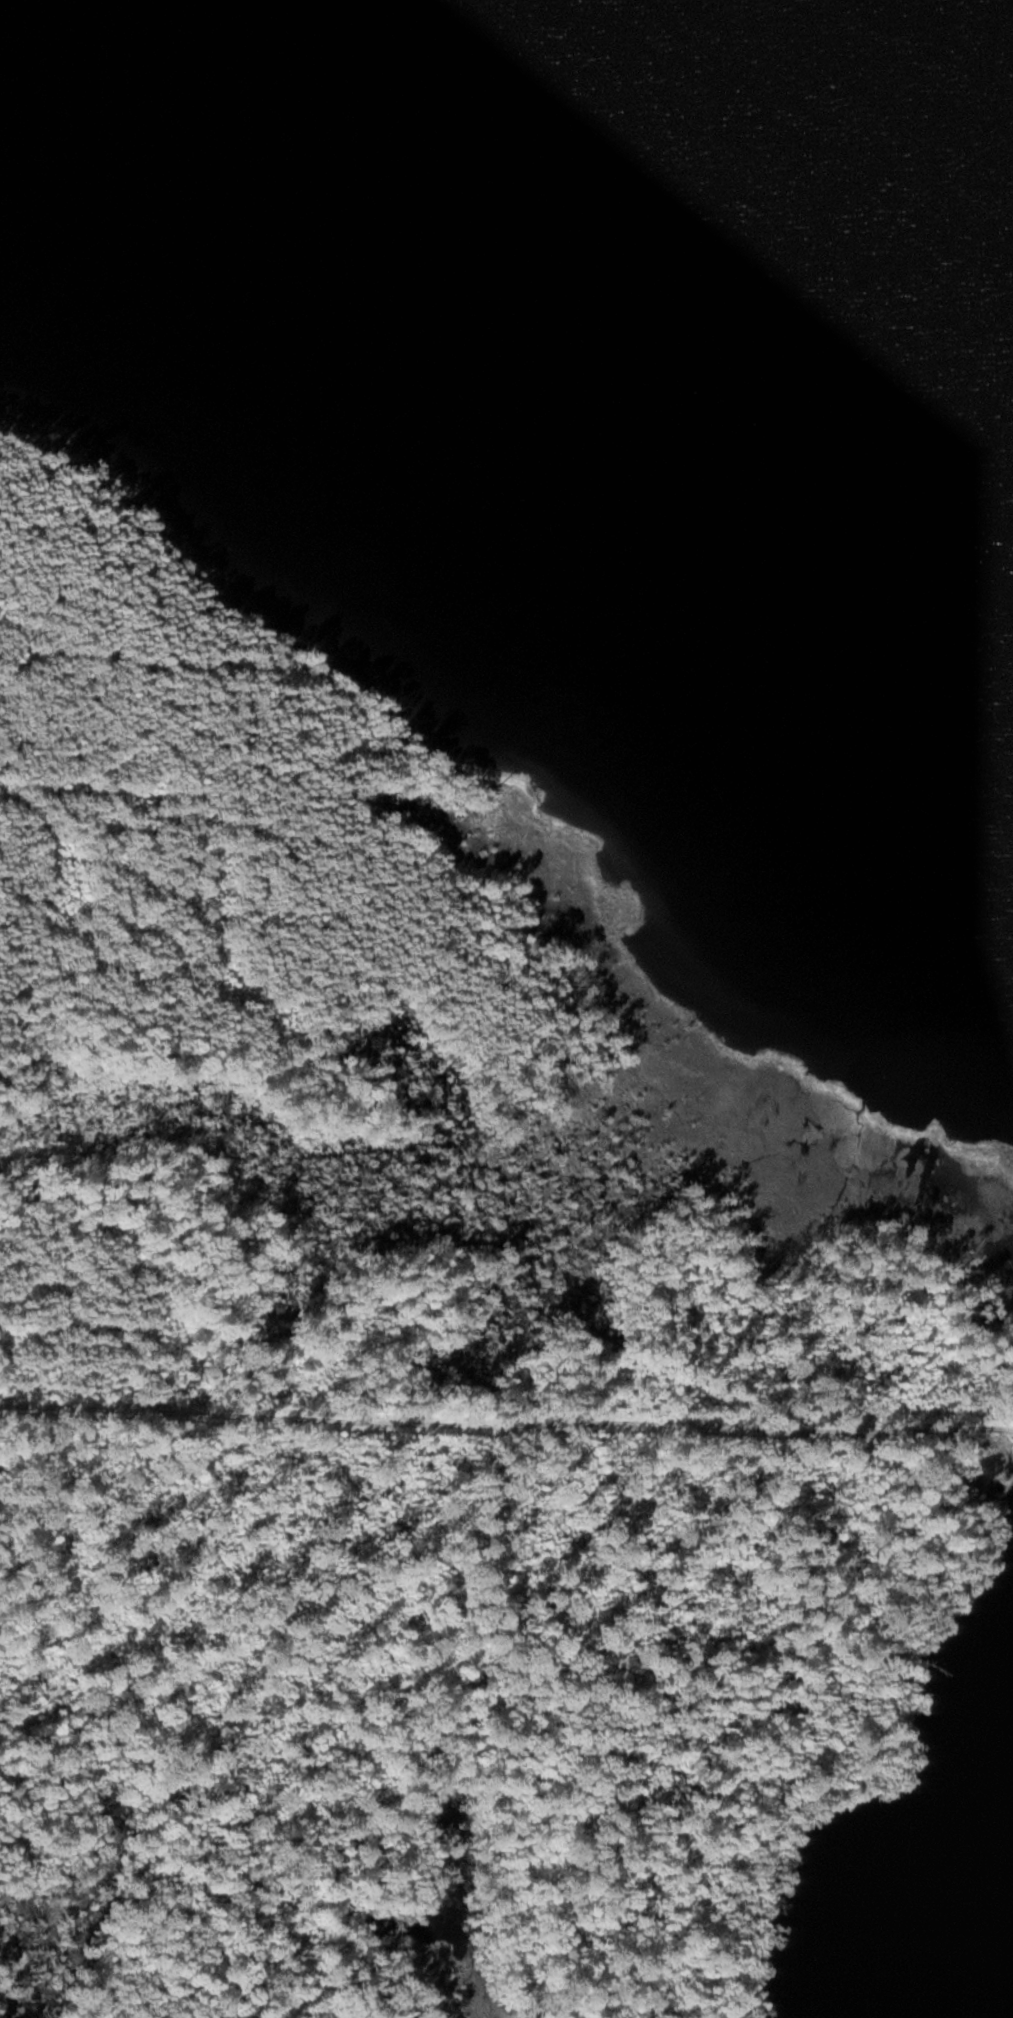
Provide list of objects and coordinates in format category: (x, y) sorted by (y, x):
river: (874, 177)
road: (506, 1450)

